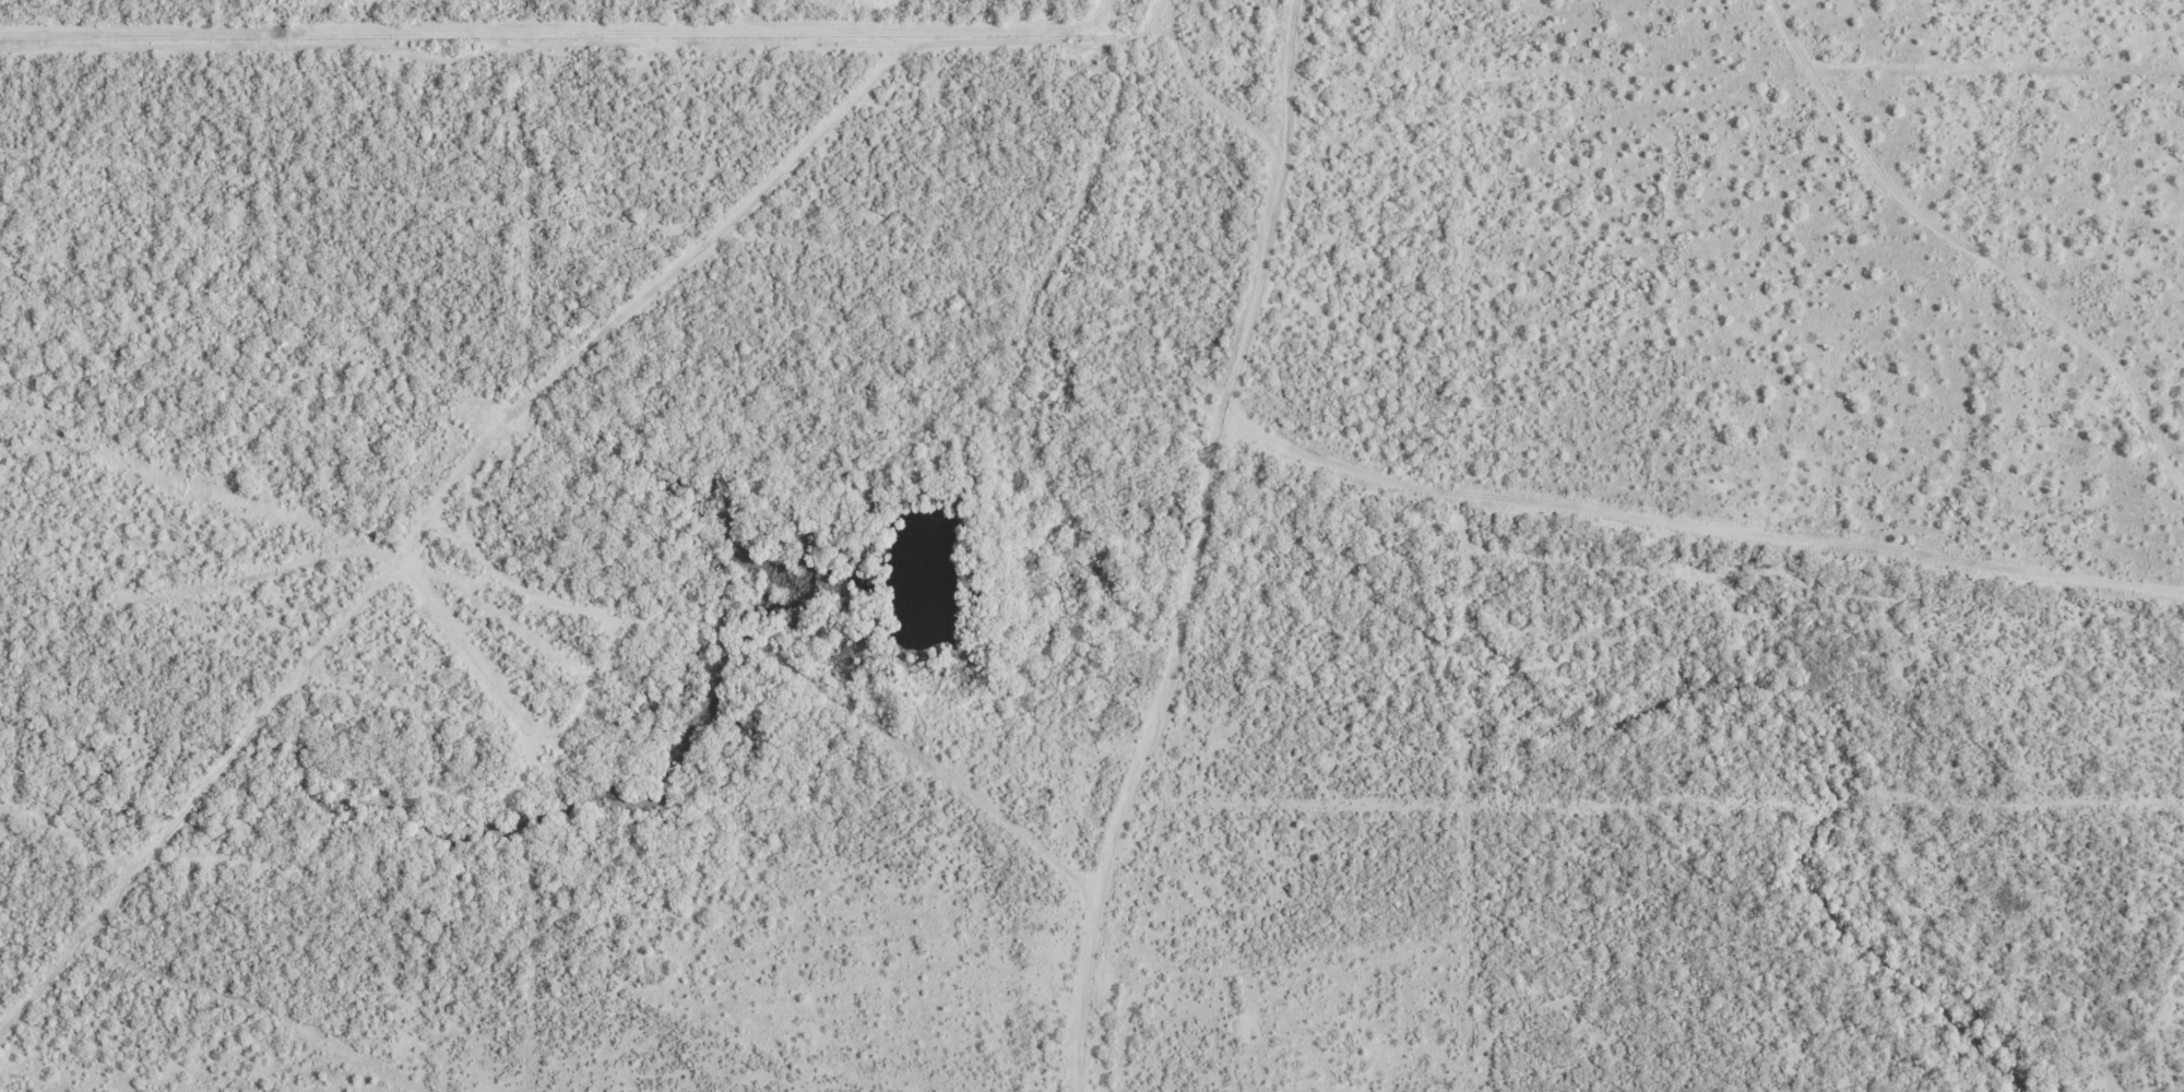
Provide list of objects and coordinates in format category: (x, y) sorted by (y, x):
road: (1180, 625)

